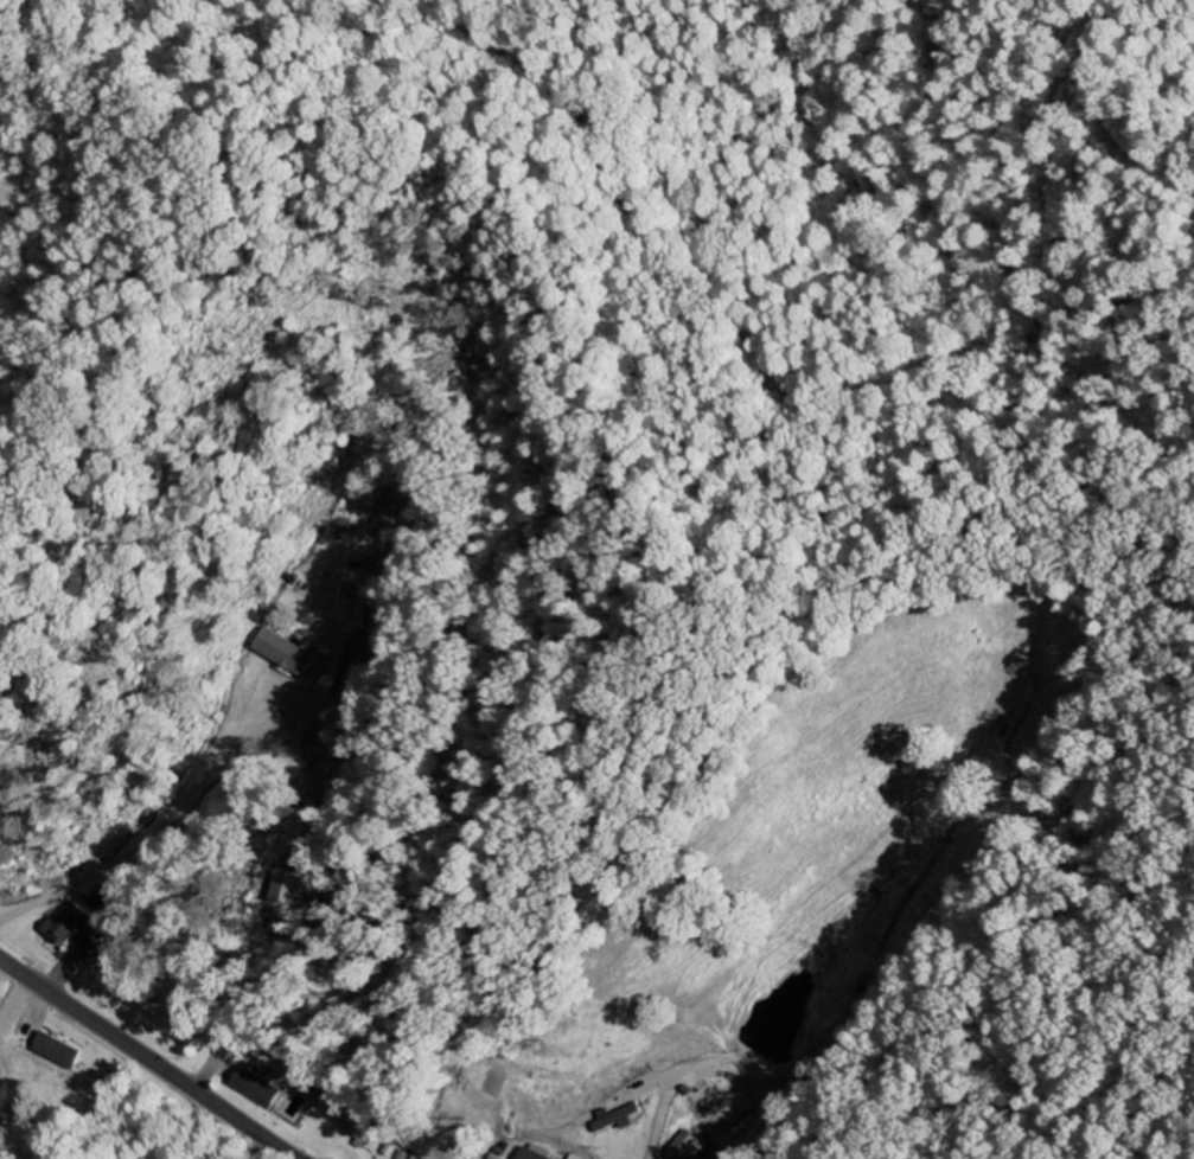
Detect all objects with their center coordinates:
building: (286, 653)
building: (290, 886)
building: (103, 901)
building: (75, 924)
building: (56, 1051)
road: (148, 1059)
building: (260, 1088)
building: (688, 1146)
building: (535, 1153)
building: (414, 1158)

